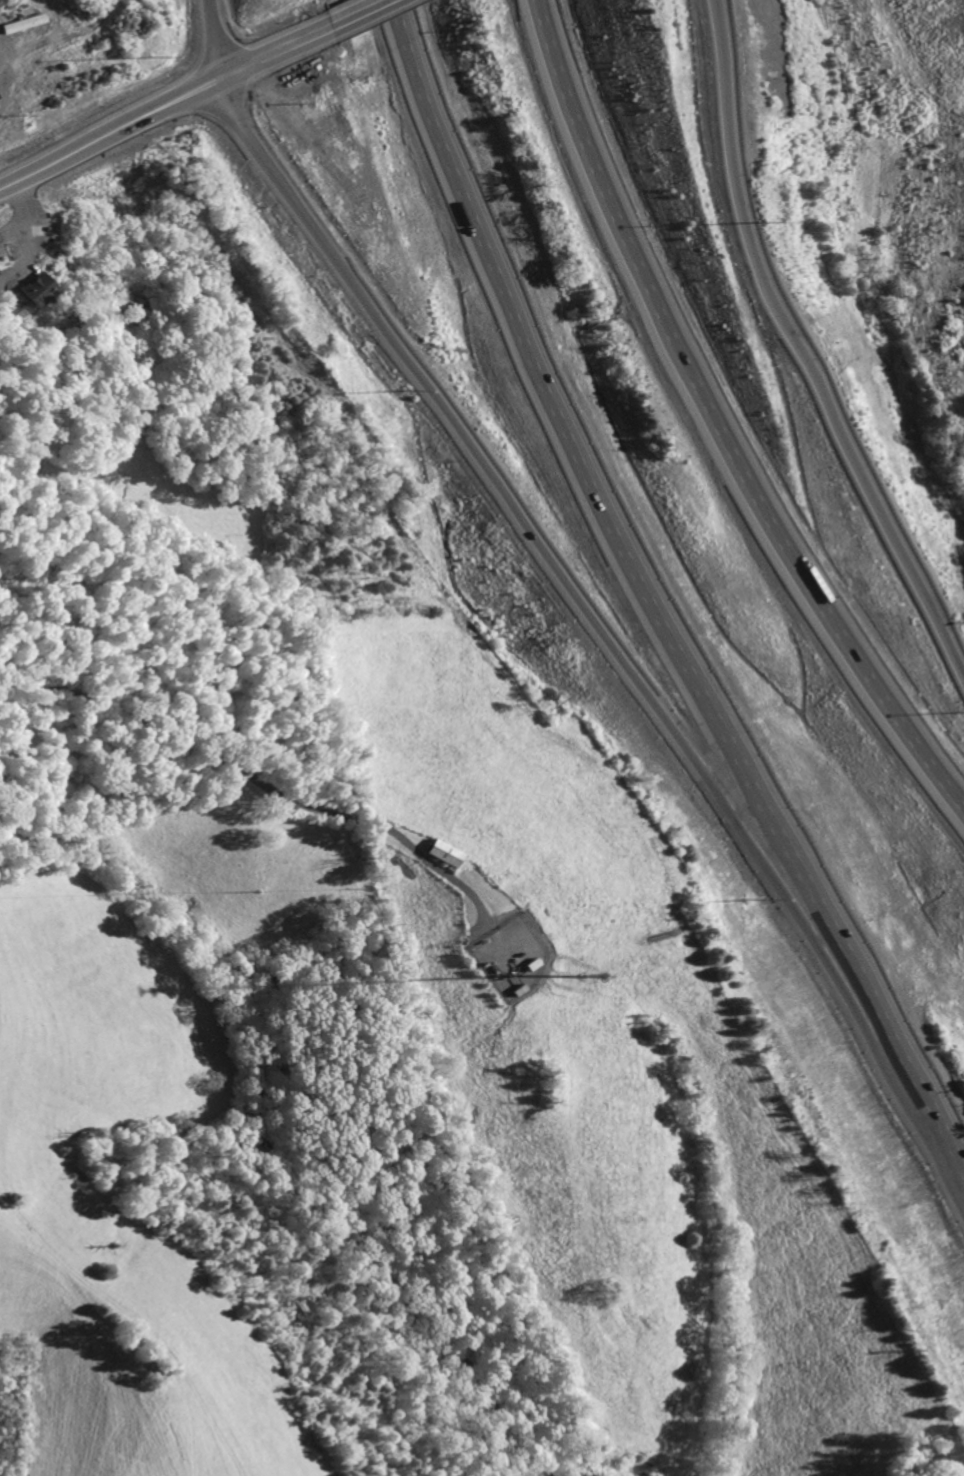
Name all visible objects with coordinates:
road: (356, 14)
road: (76, 34)
road: (210, 41)
road: (12, 66)
road: (162, 109)
building: (26, 289)
road: (794, 355)
road: (718, 423)
road: (652, 619)
road: (607, 645)

